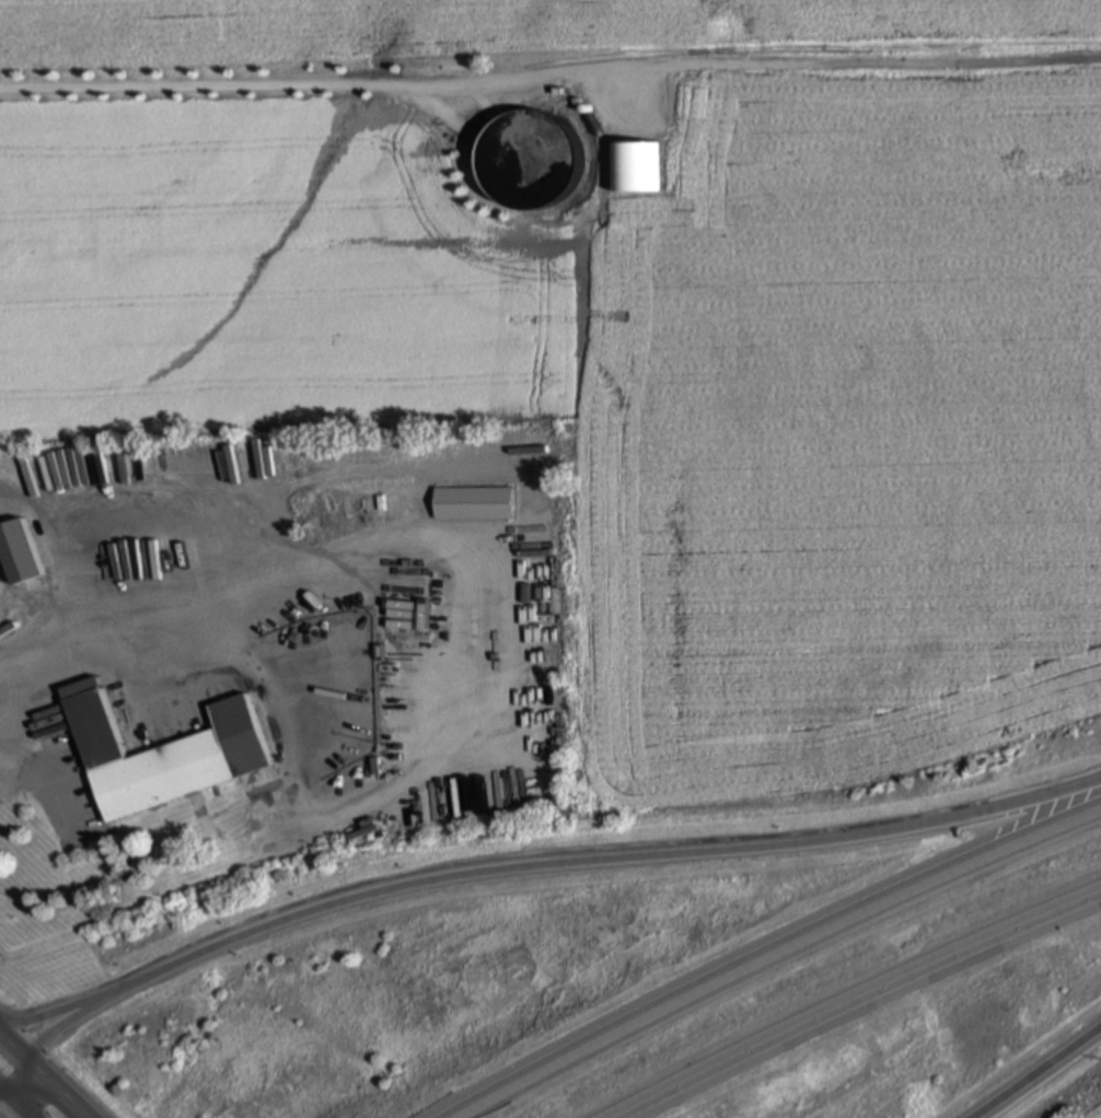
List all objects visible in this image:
road: (871, 62)
road: (322, 85)
building: (523, 161)
building: (474, 504)
building: (368, 508)
building: (15, 554)
road: (224, 596)
building: (155, 749)
road: (619, 861)
road: (779, 955)
road: (76, 1000)
road: (870, 1005)
road: (90, 1014)
road: (14, 1039)
road: (14, 1069)
road: (1044, 1079)
road: (62, 1085)
road: (4, 1114)

